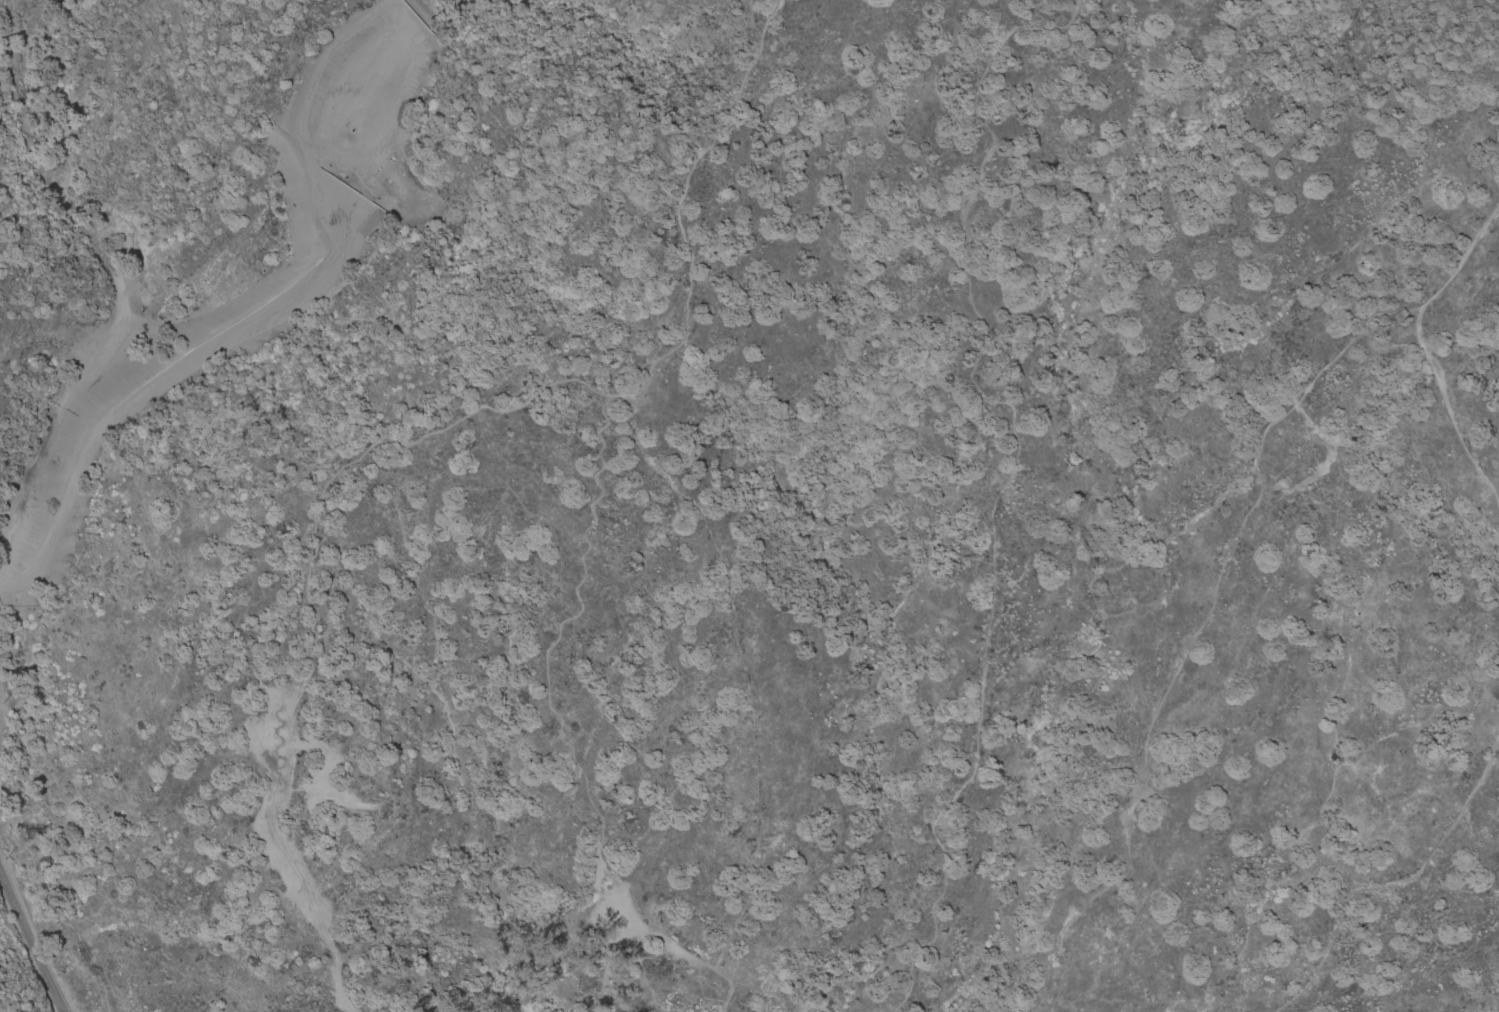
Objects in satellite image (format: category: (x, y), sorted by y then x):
road: (263, 313)
road: (1436, 395)
road: (1004, 471)
road: (674, 490)
road: (1386, 877)
road: (30, 942)

